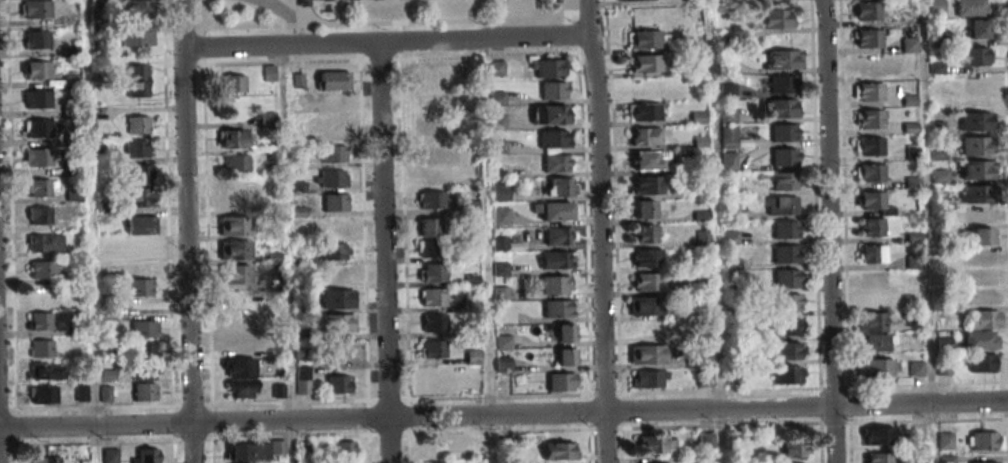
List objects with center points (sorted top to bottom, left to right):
building: (634, 0)
building: (972, 7)
building: (138, 8)
building: (36, 9)
building: (867, 11)
road: (285, 15)
road: (510, 16)
building: (777, 19)
road: (181, 24)
building: (978, 29)
building: (136, 36)
building: (867, 38)
building: (646, 39)
building: (37, 40)
road: (384, 43)
building: (976, 56)
building: (783, 59)
building: (646, 63)
building: (867, 64)
building: (548, 68)
building: (38, 70)
building: (270, 73)
building: (436, 78)
building: (137, 81)
building: (334, 81)
building: (234, 83)
building: (782, 83)
building: (975, 84)
building: (553, 90)
building: (868, 91)
building: (37, 99)
building: (429, 103)
building: (780, 108)
building: (497, 110)
building: (644, 112)
building: (551, 114)
building: (267, 119)
building: (869, 119)
building: (975, 121)
building: (138, 125)
building: (430, 127)
building: (38, 128)
building: (334, 130)
building: (785, 132)
building: (645, 136)
building: (728, 137)
building: (237, 138)
building: (554, 138)
building: (976, 145)
building: (869, 146)
building: (138, 148)
building: (432, 151)
building: (334, 154)
building: (39, 157)
building: (785, 157)
building: (648, 160)
building: (728, 161)
building: (236, 163)
building: (557, 163)
building: (978, 170)
building: (869, 172)
building: (141, 174)
building: (430, 176)
building: (940, 176)
building: (330, 178)
building: (784, 181)
building: (646, 185)
building: (42, 187)
building: (560, 187)
building: (500, 192)
building: (978, 193)
building: (139, 197)
building: (431, 199)
building: (232, 201)
building: (335, 202)
building: (873, 202)
building: (781, 205)
building: (644, 209)
building: (558, 211)
building: (979, 215)
building: (39, 216)
building: (500, 216)
building: (141, 224)
building: (235, 226)
building: (338, 226)
building: (872, 227)
building: (428, 228)
building: (786, 229)
road: (599, 231)
road: (828, 231)
building: (644, 234)
building: (559, 236)
building: (980, 236)
building: (44, 243)
building: (139, 246)
building: (427, 248)
building: (234, 250)
building: (335, 251)
road: (383, 253)
building: (787, 254)
building: (873, 254)
road: (186, 256)
building: (980, 257)
building: (647, 258)
building: (108, 259)
building: (556, 260)
building: (43, 269)
building: (432, 272)
building: (236, 274)
building: (337, 274)
building: (788, 278)
building: (872, 280)
building: (647, 282)
building: (553, 284)
building: (140, 287)
building: (981, 287)
building: (41, 295)
building: (432, 297)
building: (240, 299)
building: (338, 299)
building: (873, 301)
building: (790, 302)
building: (644, 306)
building: (559, 308)
building: (983, 319)
building: (40, 321)
building: (238, 322)
building: (434, 322)
building: (872, 322)
building: (339, 323)
building: (789, 327)
building: (144, 329)
building: (565, 332)
building: (981, 340)
building: (878, 342)
building: (42, 348)
building: (144, 349)
building: (433, 349)
building: (790, 351)
building: (647, 354)
road: (1, 355)
building: (566, 357)
building: (983, 362)
building: (880, 367)
building: (241, 368)
building: (916, 368)
building: (944, 368)
building: (145, 371)
building: (47, 372)
building: (787, 375)
building: (705, 378)
building: (649, 379)
building: (561, 382)
building: (338, 384)
building: (146, 392)
building: (105, 393)
building: (43, 394)
road: (504, 415)
building: (878, 436)
building: (707, 439)
building: (984, 440)
building: (945, 441)
building: (654, 444)
building: (279, 446)
building: (434, 448)
building: (795, 448)
building: (345, 449)
building: (249, 451)
building: (560, 451)
building: (110, 455)
building: (145, 455)
building: (879, 458)
building: (47, 459)
building: (435, 462)
building: (984, 462)

